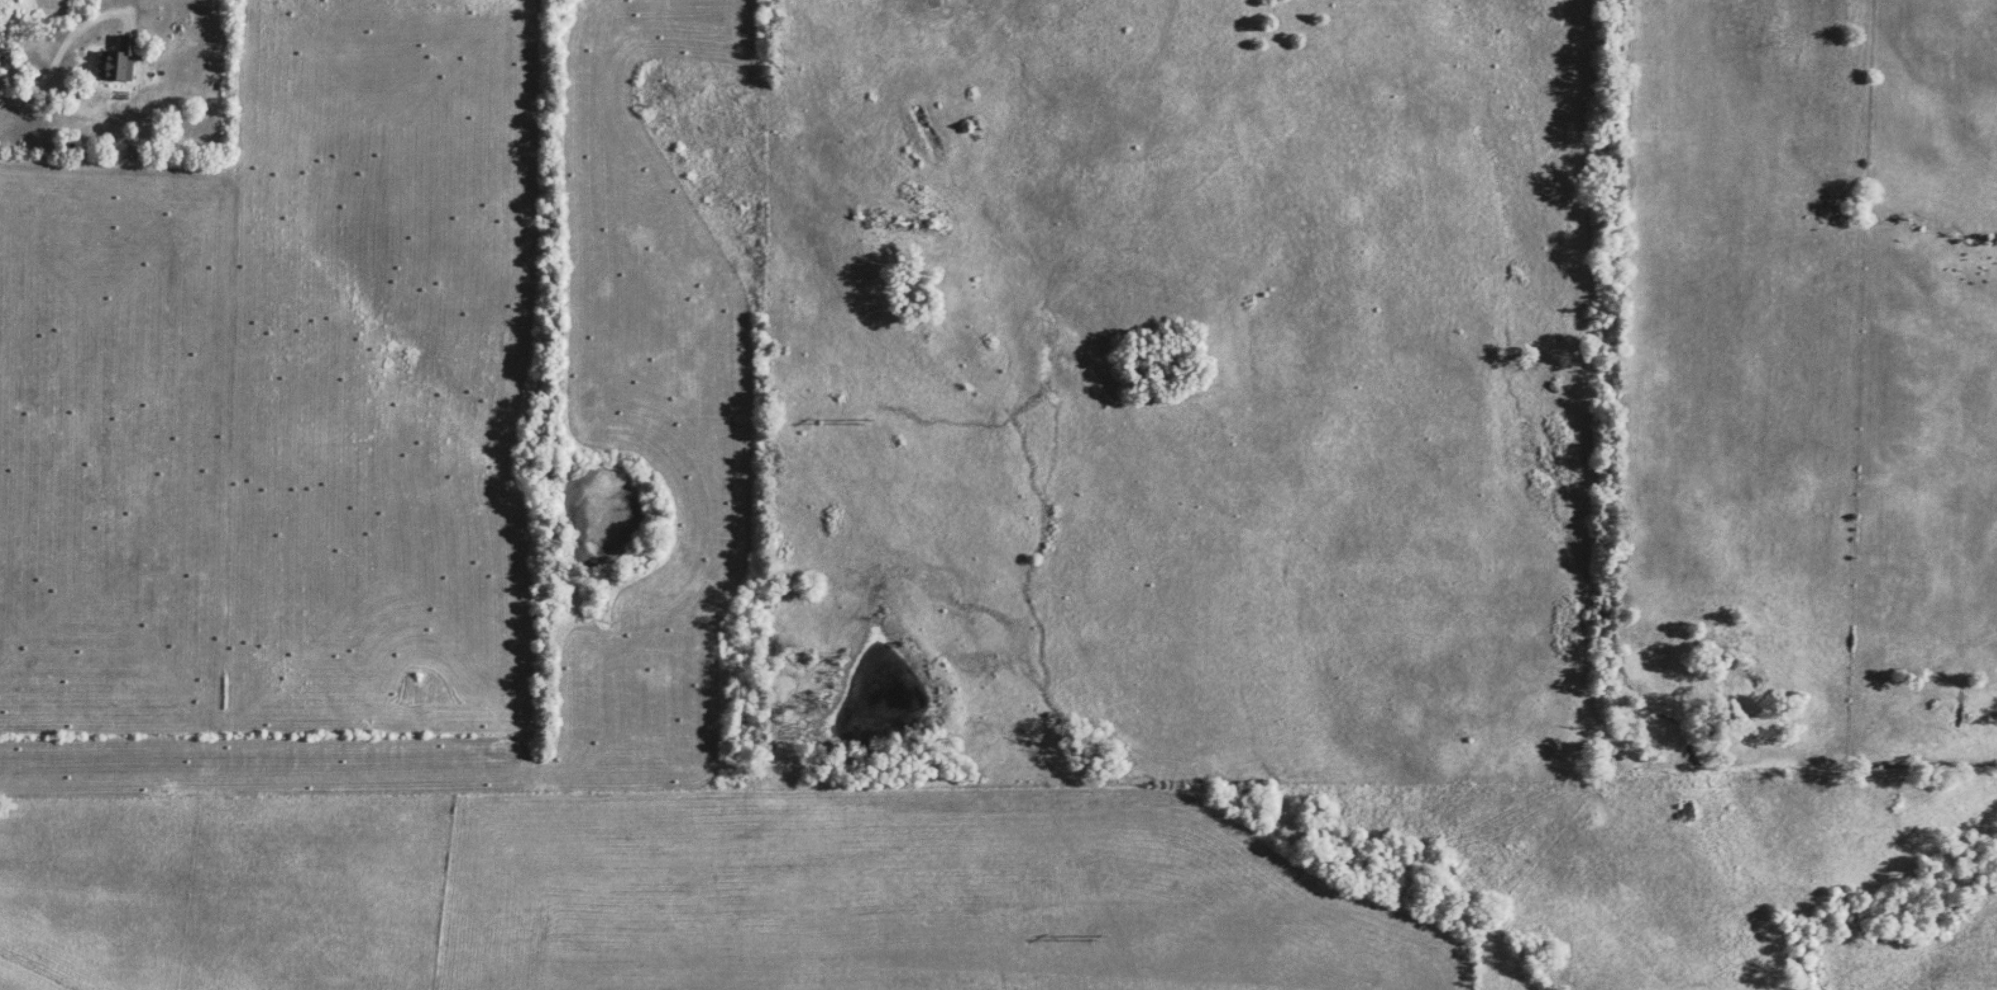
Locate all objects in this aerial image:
road: (61, 47)
building: (6, 56)
building: (119, 59)

